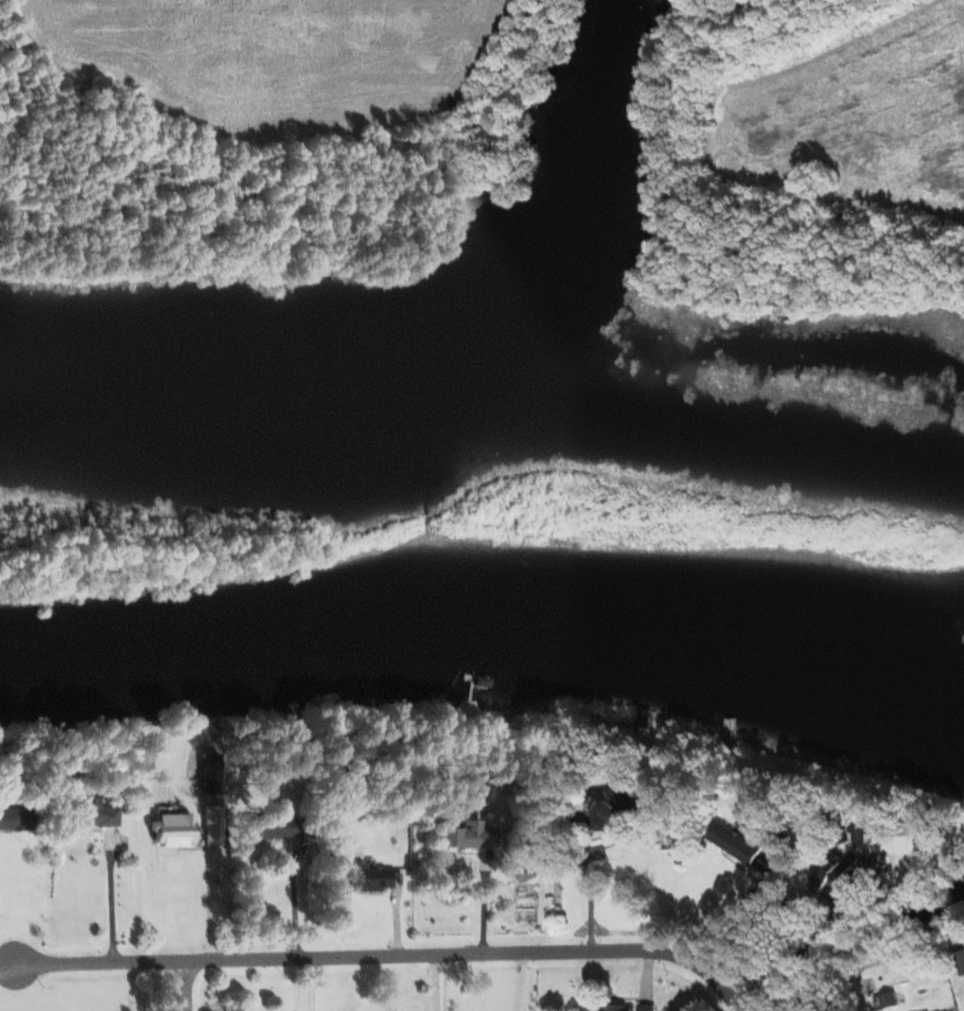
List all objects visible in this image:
river: (681, 658)
river: (196, 667)
building: (644, 720)
building: (613, 806)
building: (88, 816)
building: (14, 820)
building: (275, 829)
building: (173, 830)
building: (466, 837)
building: (732, 843)
building: (834, 875)
building: (363, 880)
road: (808, 945)
road: (379, 958)
building: (959, 963)
road: (186, 987)
building: (615, 1008)

